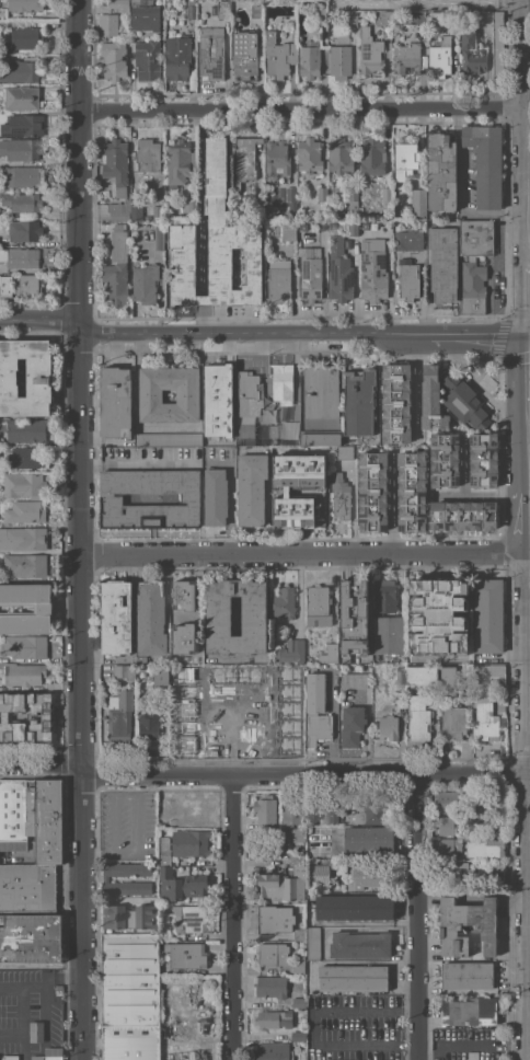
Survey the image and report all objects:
building: (24, 4)
building: (119, 4)
road: (426, 4)
building: (189, 9)
building: (222, 9)
building: (319, 9)
building: (256, 11)
building: (145, 14)
building: (416, 15)
building: (382, 16)
building: (352, 19)
building: (289, 24)
building: (107, 25)
building: (292, 36)
building: (23, 38)
building: (497, 42)
road: (528, 47)
building: (369, 51)
building: (211, 53)
building: (244, 54)
building: (472, 54)
building: (278, 55)
building: (177, 57)
building: (439, 57)
building: (114, 58)
building: (406, 58)
building: (148, 59)
building: (309, 59)
building: (339, 61)
building: (21, 70)
building: (21, 96)
road: (302, 110)
building: (25, 125)
building: (21, 149)
building: (147, 154)
building: (339, 155)
building: (372, 155)
building: (277, 157)
building: (310, 158)
building: (404, 158)
building: (244, 159)
building: (180, 161)
building: (485, 163)
building: (115, 164)
building: (441, 172)
building: (24, 175)
road: (462, 191)
building: (322, 194)
building: (387, 194)
building: (353, 196)
road: (528, 197)
building: (22, 201)
road: (200, 201)
building: (291, 201)
building: (418, 201)
building: (189, 205)
building: (118, 209)
building: (136, 209)
building: (342, 216)
building: (332, 222)
building: (353, 229)
building: (24, 230)
building: (288, 231)
building: (159, 238)
building: (476, 238)
building: (408, 240)
building: (118, 243)
building: (215, 244)
building: (20, 257)
building: (442, 263)
building: (372, 269)
building: (339, 270)
building: (310, 275)
road: (527, 276)
building: (407, 279)
building: (278, 281)
building: (115, 283)
building: (145, 283)
building: (4, 285)
building: (28, 286)
building: (472, 287)
road: (201, 300)
road: (201, 316)
road: (264, 327)
traffic signals: (528, 327)
building: (38, 380)
building: (216, 381)
building: (283, 383)
building: (321, 392)
building: (249, 394)
building: (150, 395)
building: (429, 399)
building: (358, 401)
building: (115, 402)
building: (394, 402)
building: (465, 402)
building: (24, 429)
building: (245, 430)
building: (267, 430)
building: (216, 433)
building: (320, 437)
building: (168, 439)
building: (344, 452)
building: (23, 457)
building: (483, 459)
building: (445, 460)
road: (139, 464)
building: (24, 485)
building: (251, 488)
building: (370, 491)
building: (408, 491)
building: (287, 492)
building: (339, 495)
building: (216, 497)
building: (111, 498)
road: (352, 507)
building: (25, 511)
building: (463, 515)
road: (81, 529)
building: (24, 538)
road: (304, 553)
building: (24, 565)
building: (384, 596)
building: (185, 600)
building: (284, 601)
building: (318, 604)
building: (25, 608)
building: (219, 615)
building: (438, 615)
building: (488, 615)
building: (116, 617)
building: (354, 617)
building: (150, 619)
building: (388, 634)
building: (182, 638)
building: (24, 646)
building: (188, 649)
building: (290, 650)
building: (329, 654)
building: (141, 659)
building: (124, 671)
building: (24, 673)
building: (161, 673)
building: (183, 675)
building: (250, 675)
building: (287, 675)
building: (221, 676)
building: (422, 676)
building: (453, 677)
building: (354, 679)
building: (183, 692)
building: (287, 693)
road: (233, 694)
building: (488, 701)
building: (183, 710)
building: (316, 710)
building: (287, 711)
building: (120, 713)
building: (221, 713)
building: (249, 714)
building: (38, 716)
building: (417, 718)
building: (453, 722)
road: (267, 725)
building: (149, 726)
road: (200, 726)
building: (352, 726)
building: (183, 727)
building: (287, 728)
building: (388, 728)
building: (221, 731)
building: (249, 731)
building: (183, 746)
building: (287, 746)
building: (221, 748)
building: (247, 748)
road: (41, 763)
road: (159, 776)
road: (383, 776)
building: (447, 802)
building: (265, 809)
building: (292, 811)
building: (313, 811)
building: (369, 813)
building: (332, 814)
building: (482, 814)
building: (32, 817)
building: (448, 825)
building: (499, 829)
building: (290, 833)
building: (368, 838)
building: (163, 840)
building: (434, 840)
building: (188, 842)
building: (449, 846)
building: (486, 849)
building: (164, 854)
building: (296, 857)
building: (491, 873)
building: (456, 875)
building: (365, 876)
building: (106, 878)
building: (283, 884)
building: (182, 885)
building: (27, 887)
building: (354, 907)
building: (129, 915)
road: (235, 918)
road: (418, 918)
building: (191, 919)
building: (273, 919)
building: (450, 926)
building: (300, 933)
building: (31, 937)
building: (313, 943)
building: (360, 944)
building: (186, 954)
building: (273, 954)
building: (299, 966)
building: (466, 975)
building: (353, 977)
building: (130, 979)
building: (272, 986)
road: (23, 989)
building: (58, 992)
building: (299, 1002)
building: (470, 1012)
building: (274, 1018)
road: (312, 1026)
building: (35, 1030)
building: (299, 1036)
building: (130, 1042)
road: (474, 1045)
building: (272, 1051)
building: (48, 1055)
building: (473, 1056)
building: (10, 1057)

